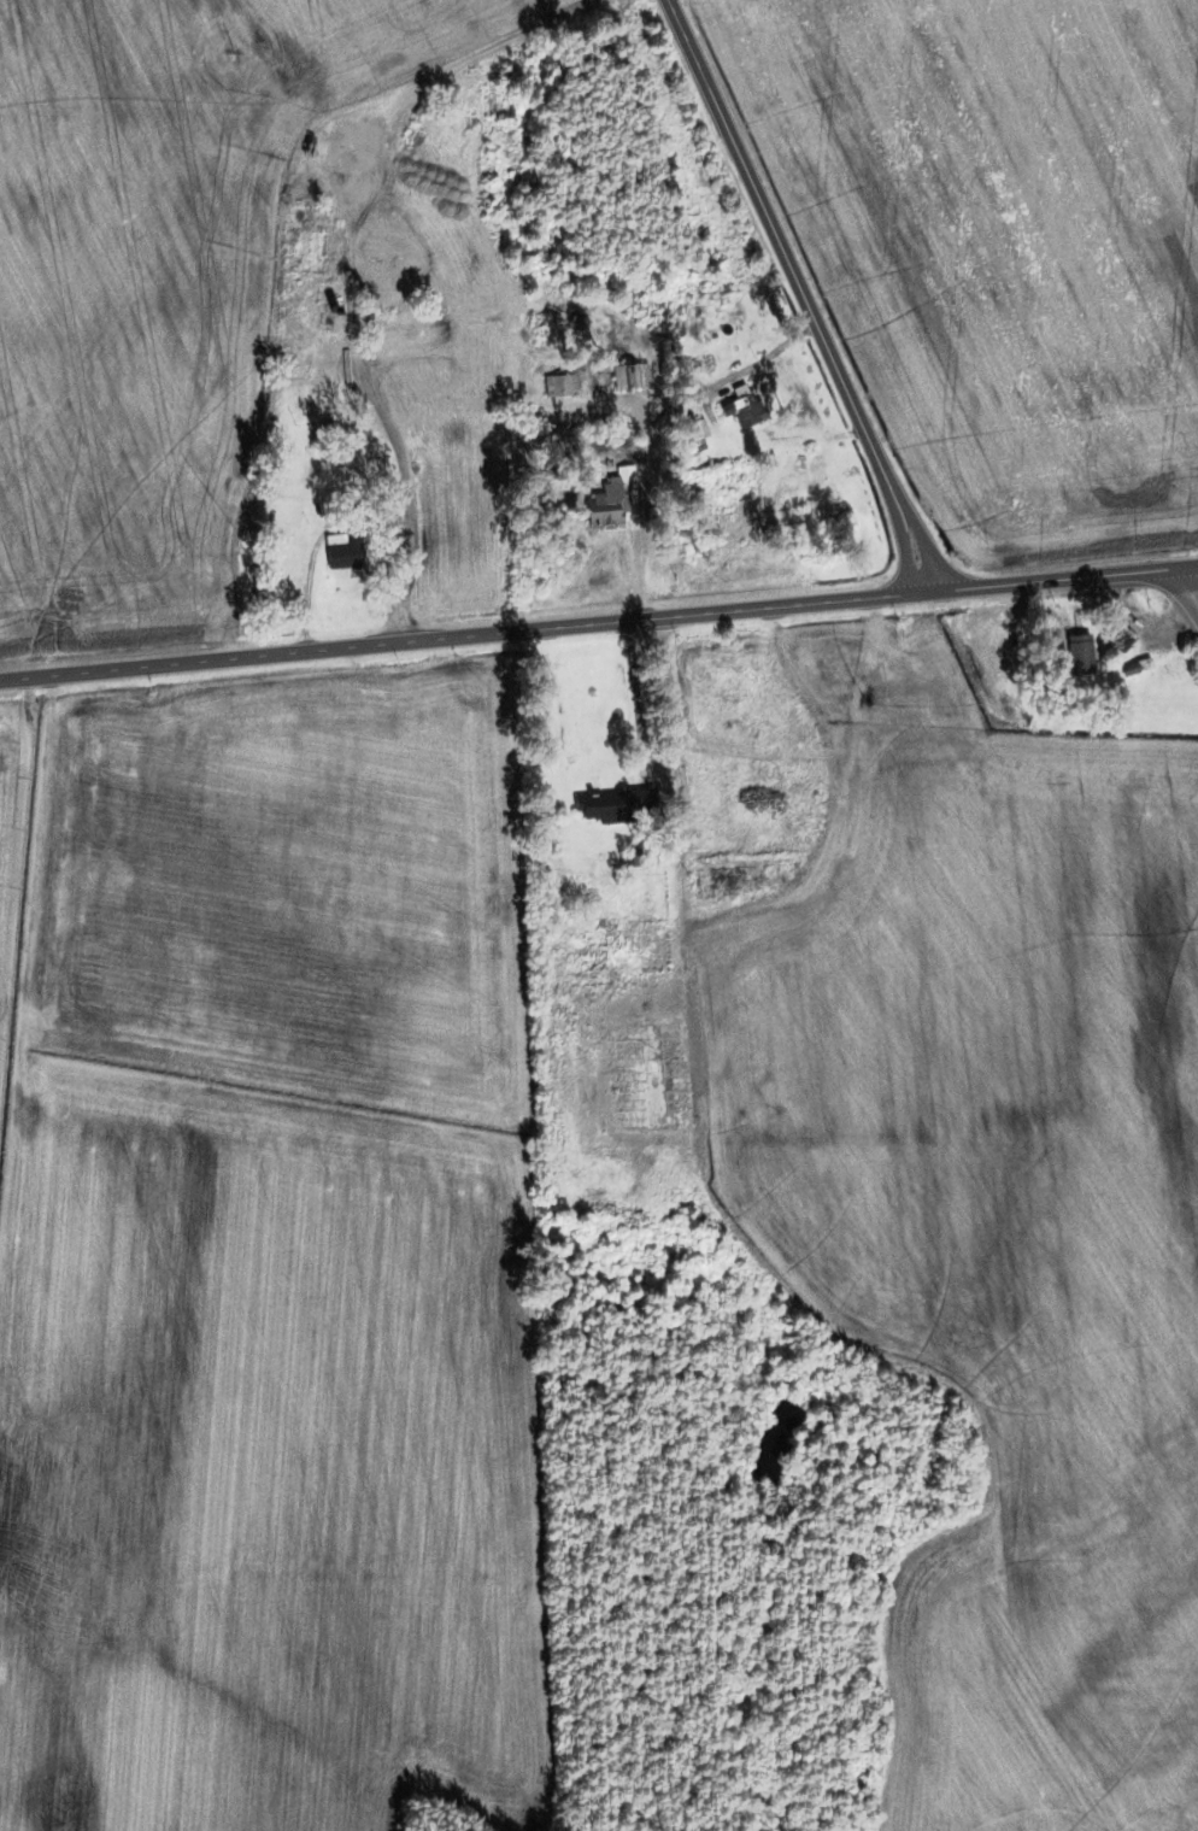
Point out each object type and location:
building: (303, 237)
building: (377, 278)
road: (804, 293)
building: (401, 306)
building: (413, 334)
building: (287, 362)
building: (630, 376)
building: (559, 386)
building: (744, 410)
building: (612, 499)
building: (346, 553)
road: (1193, 564)
road: (1193, 575)
road: (594, 622)
building: (1118, 638)
building: (1080, 655)
building: (613, 806)
building: (742, 857)
building: (598, 920)
building: (656, 1079)

